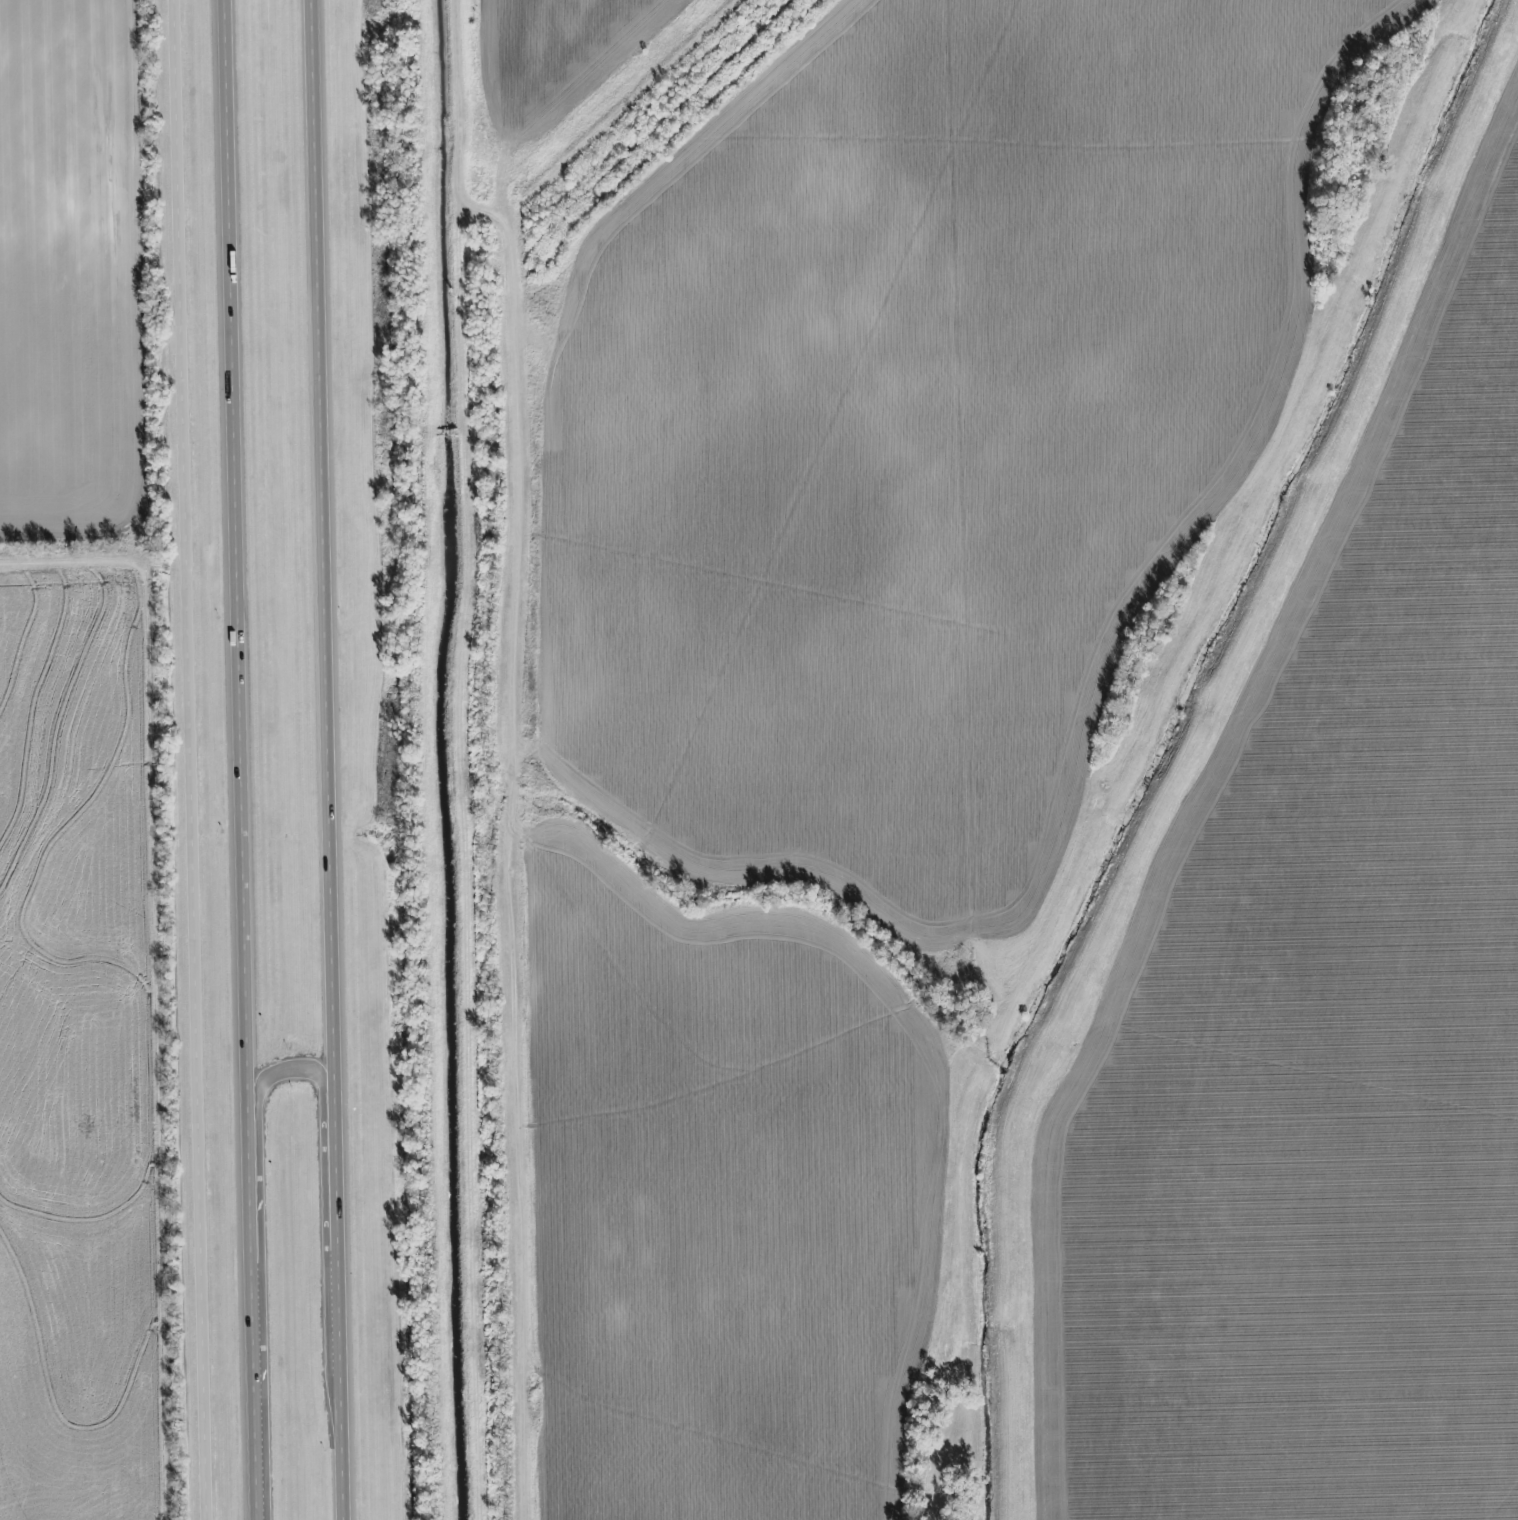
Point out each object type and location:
river: (1150, 743)
road: (242, 759)
road: (332, 759)
road: (193, 760)
road: (515, 1108)

